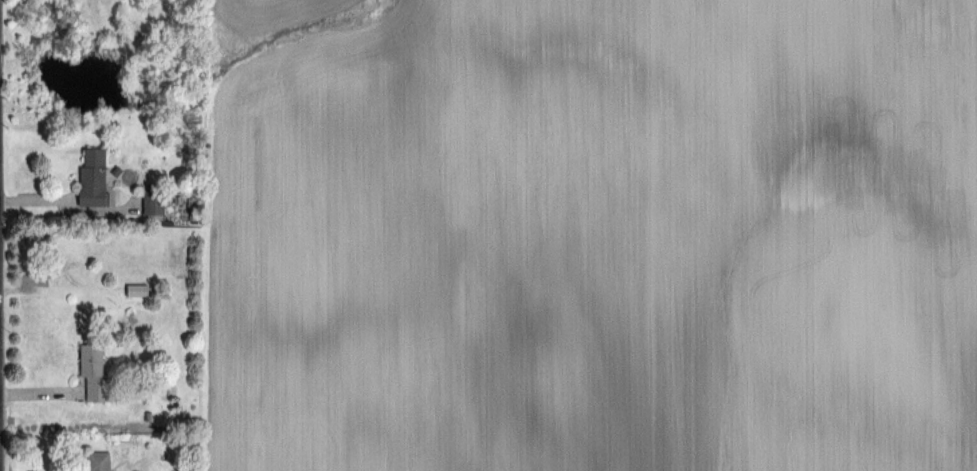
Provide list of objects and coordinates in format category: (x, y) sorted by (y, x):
building: (93, 177)
road: (53, 198)
building: (153, 199)
building: (136, 289)
building: (93, 371)
building: (98, 460)

